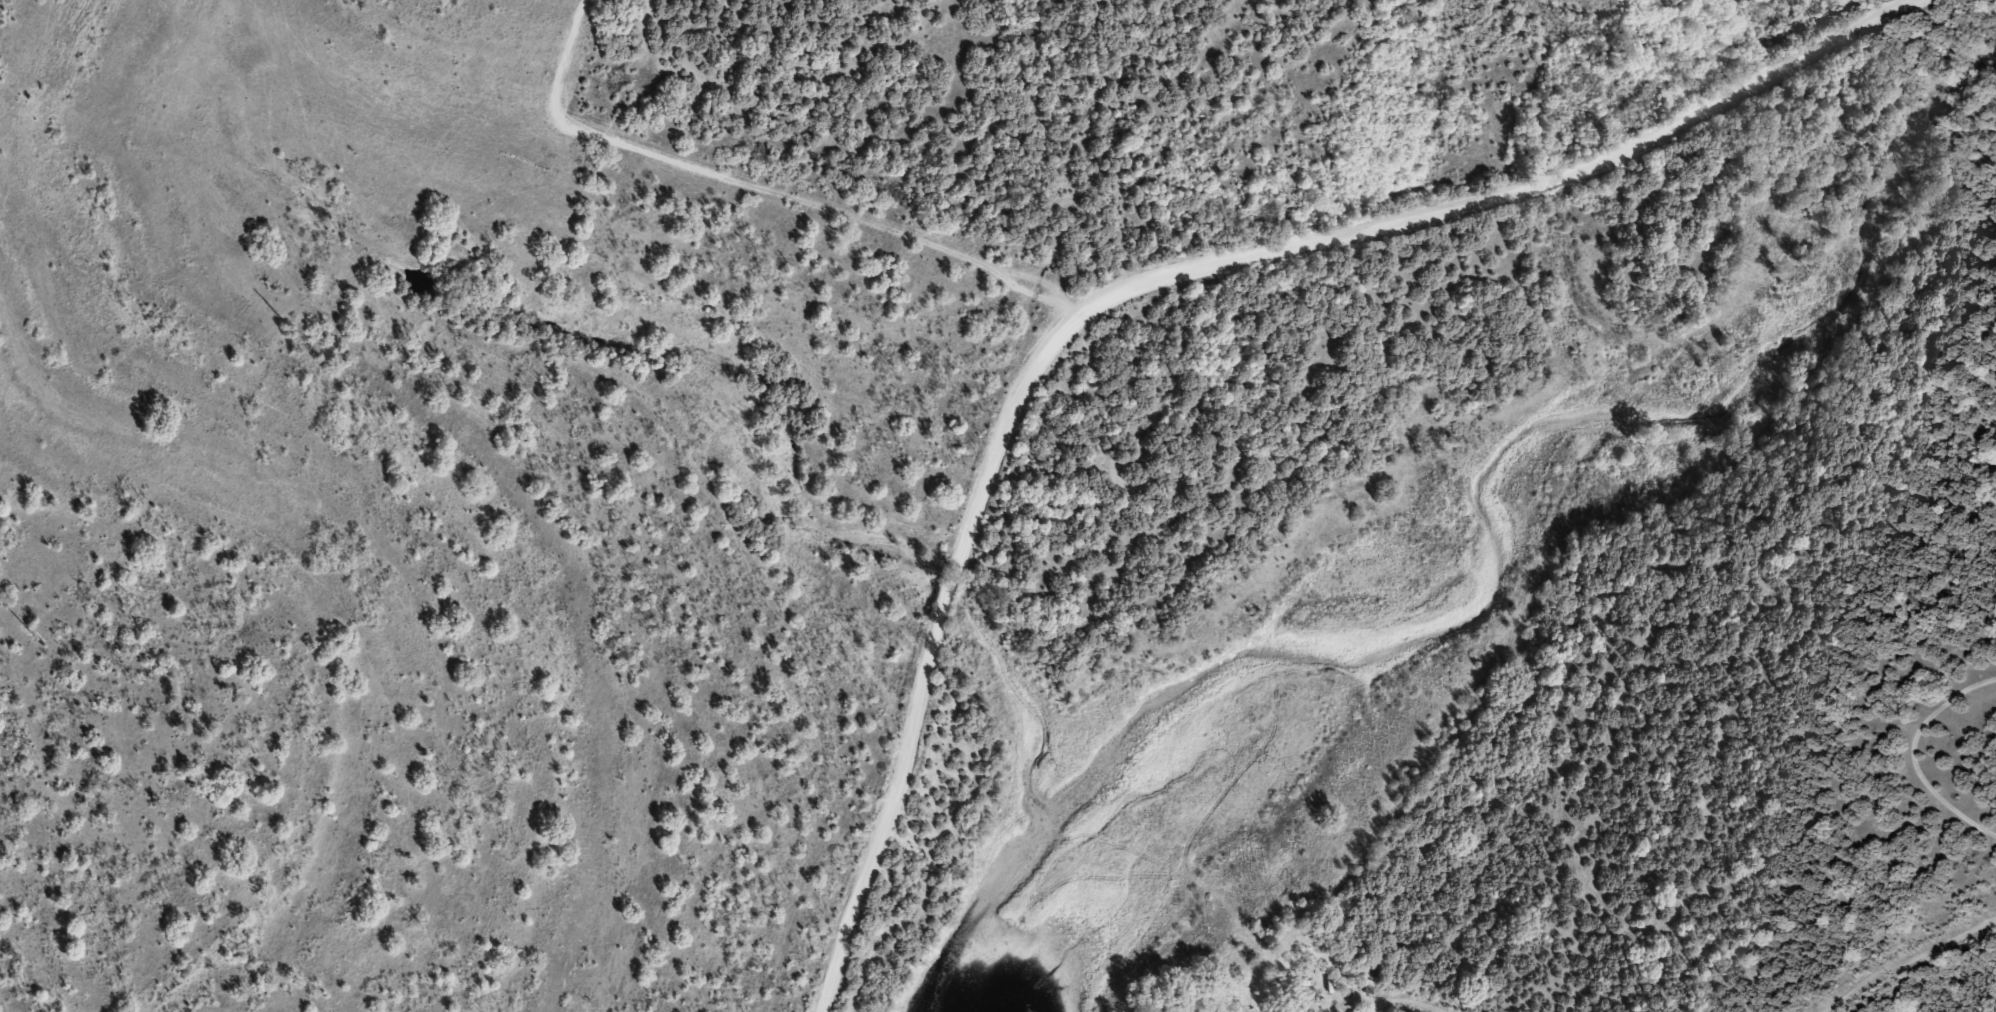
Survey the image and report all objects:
road: (8, 12)
road: (1141, 290)
power tower: (286, 330)
power tower: (30, 635)

